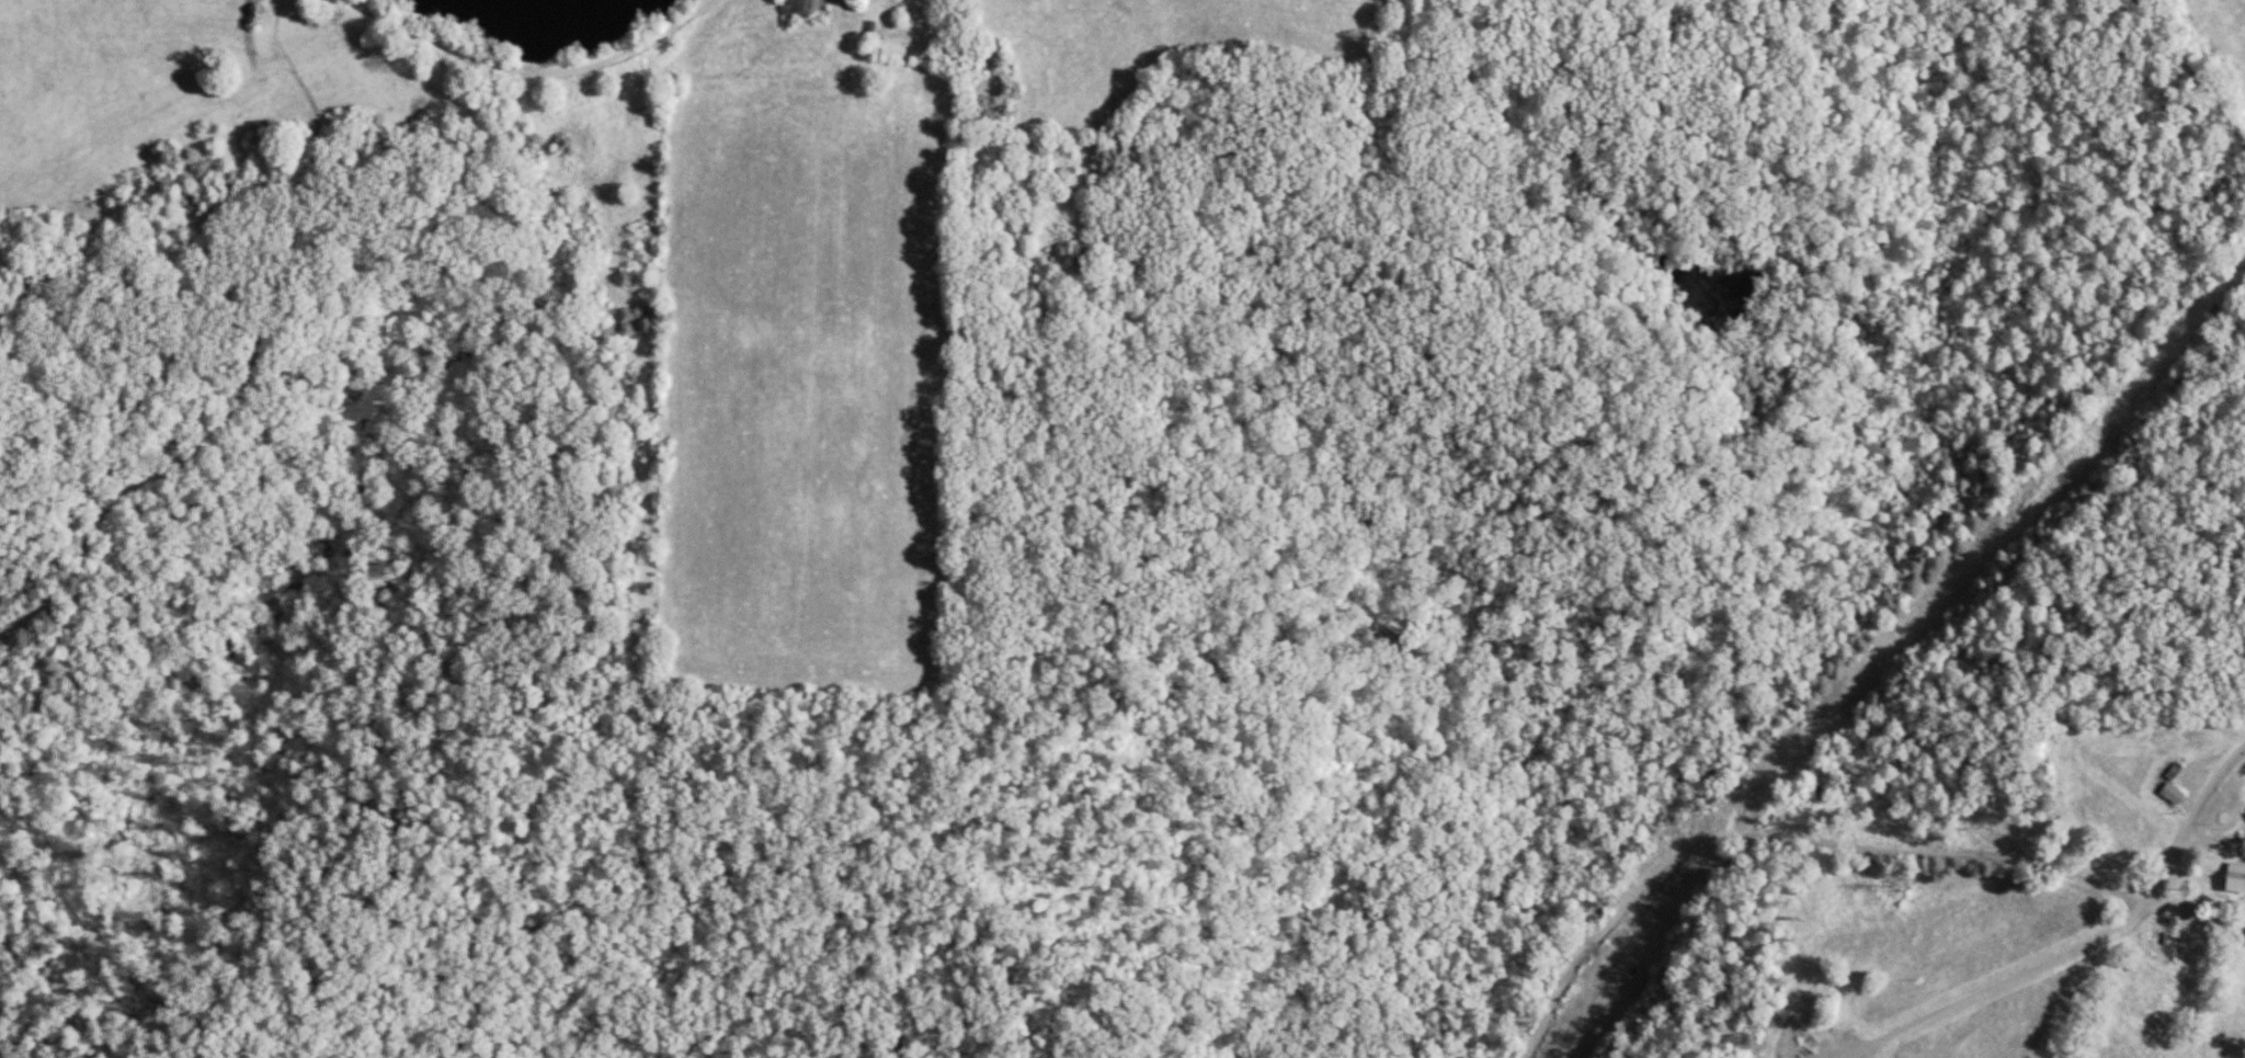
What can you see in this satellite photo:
building: (805, 12)
road: (2188, 70)
road: (2208, 794)
road: (1846, 845)
building: (2227, 878)
building: (2158, 942)

